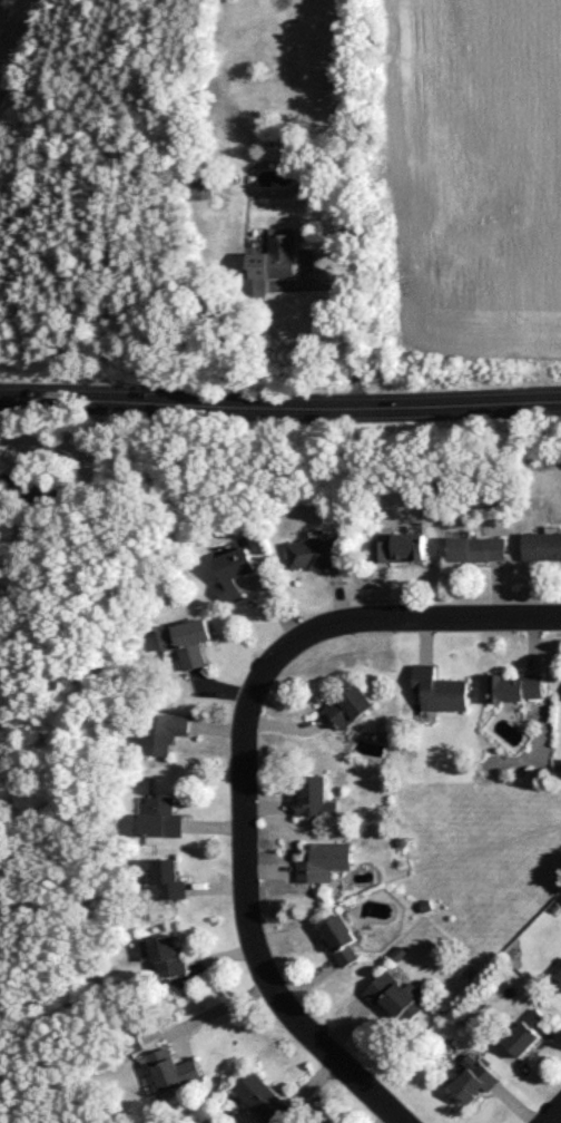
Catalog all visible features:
building: (272, 262)
road: (353, 315)
road: (280, 396)
building: (542, 546)
building: (400, 547)
building: (478, 548)
building: (315, 553)
building: (235, 572)
road: (416, 613)
building: (189, 641)
building: (516, 687)
building: (440, 689)
building: (351, 705)
building: (166, 731)
building: (315, 795)
building: (164, 817)
building: (324, 860)
building: (168, 880)
road: (248, 910)
building: (341, 938)
building: (169, 956)
building: (559, 975)
building: (394, 996)
road: (218, 1008)
building: (526, 1031)
building: (175, 1070)
building: (473, 1077)
building: (265, 1098)
road: (551, 1113)

